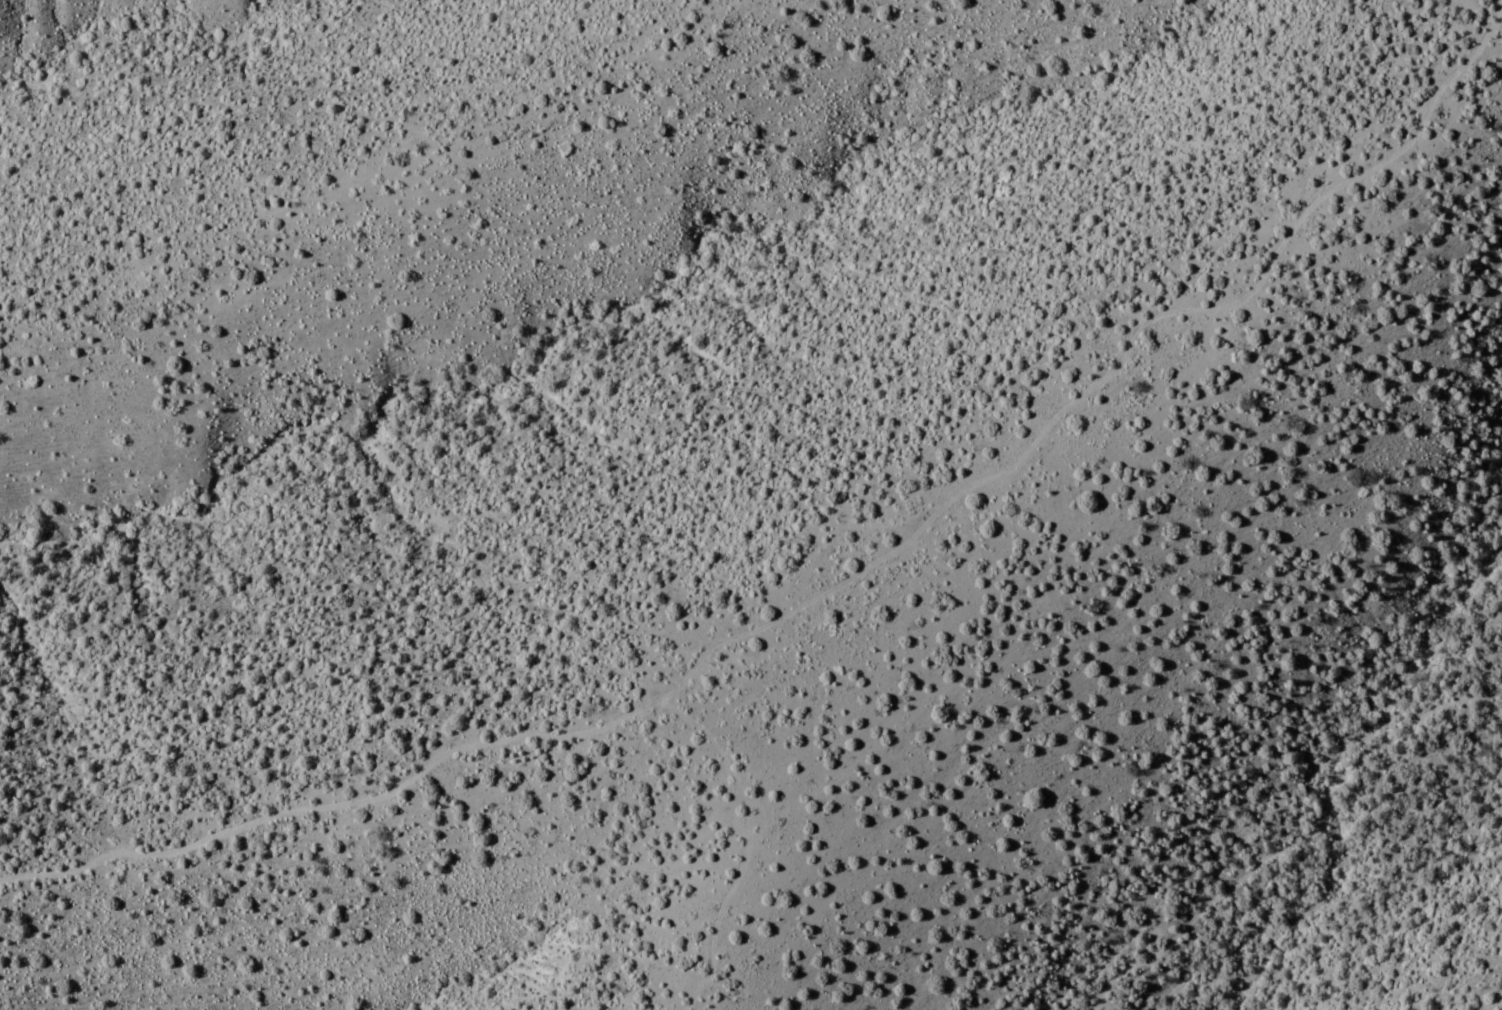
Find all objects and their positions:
road: (822, 691)

